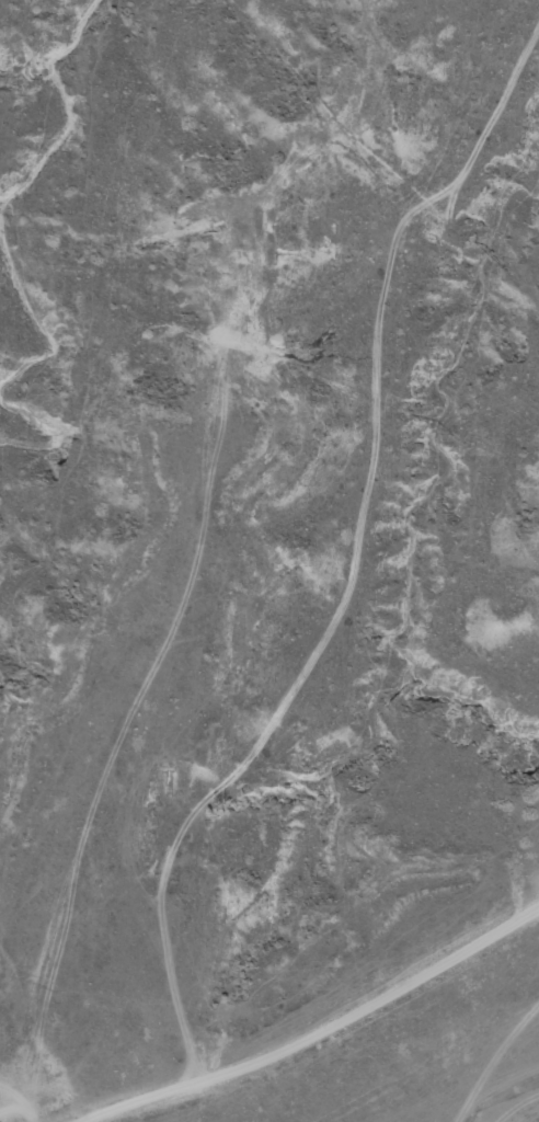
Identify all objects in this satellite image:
road: (288, 978)

